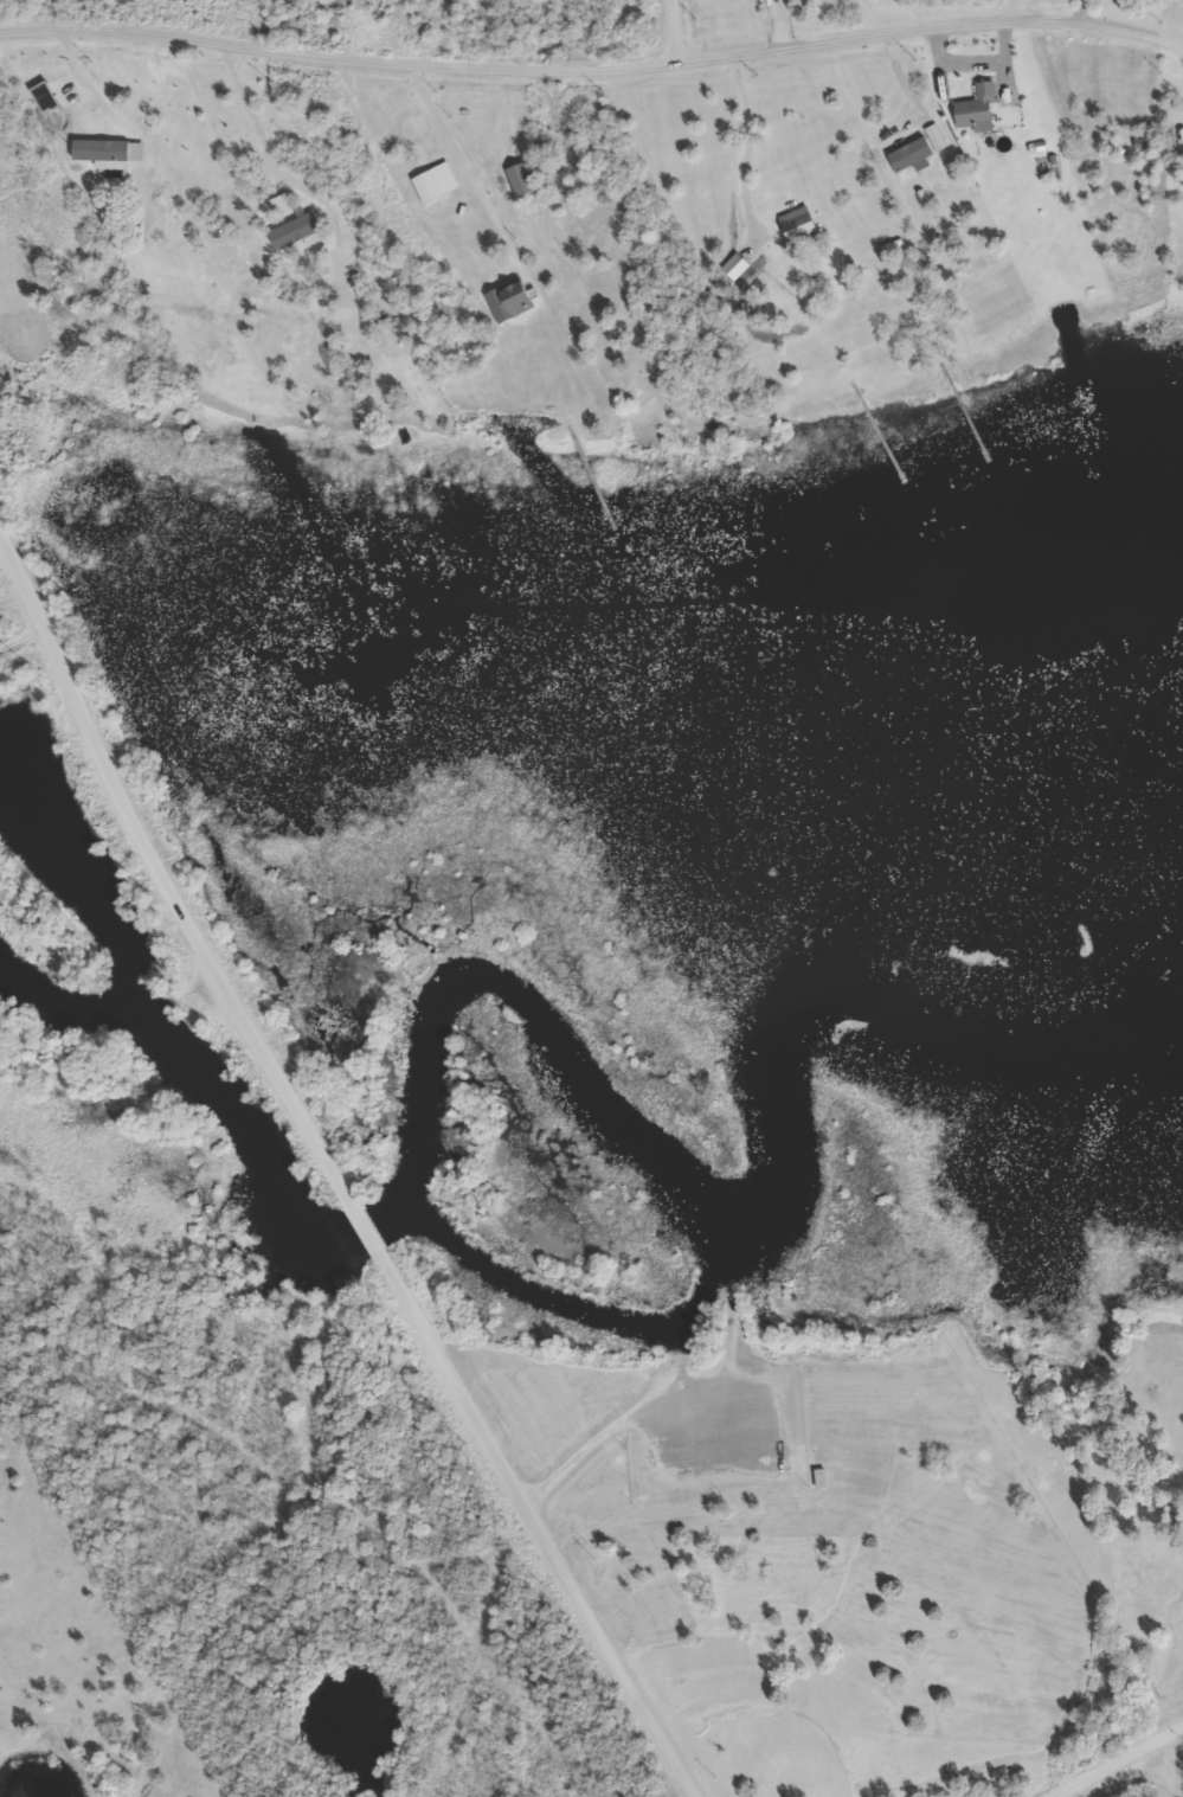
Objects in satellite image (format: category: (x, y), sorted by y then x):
road: (676, 31)
road: (592, 70)
building: (979, 109)
building: (522, 179)
building: (429, 187)
building: (802, 226)
road: (249, 1020)
road: (615, 1426)
parking lot: (719, 1431)
building: (822, 1478)
road: (475, 1642)
road: (609, 1645)

